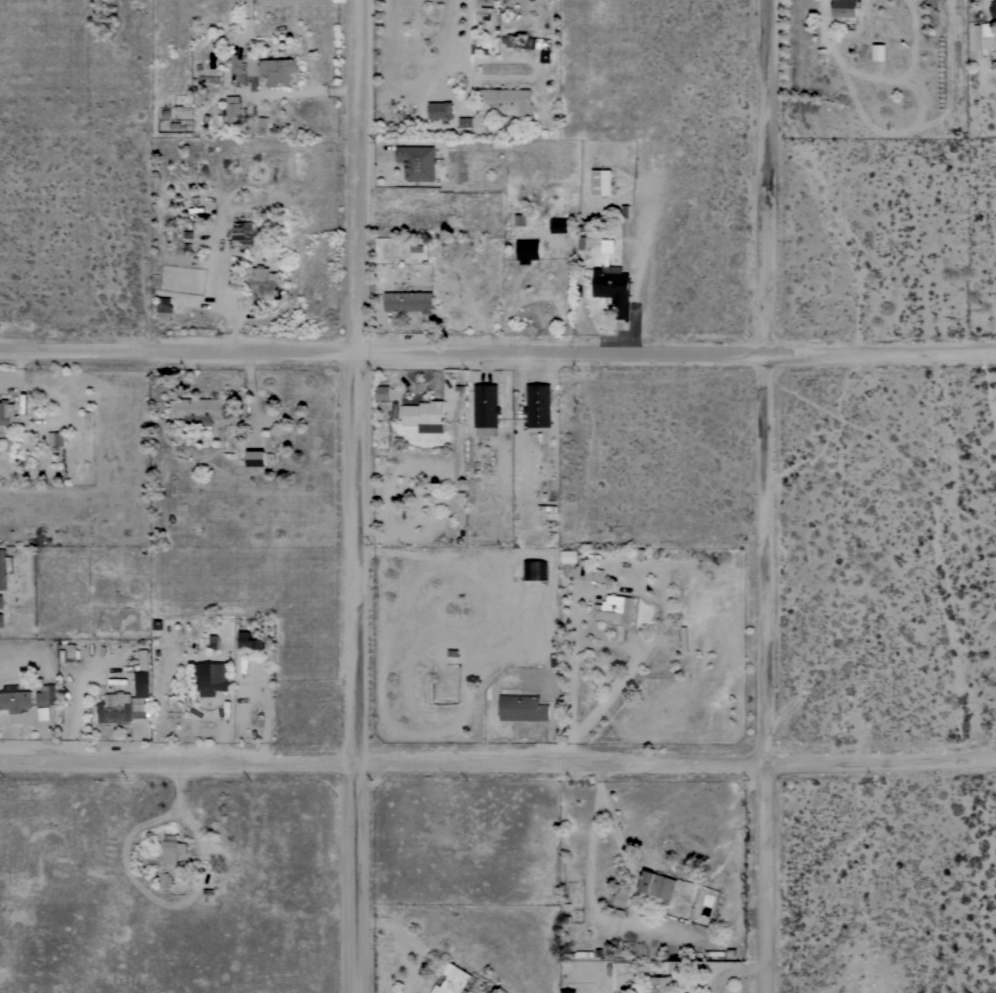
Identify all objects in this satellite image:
building: (846, 9)
building: (993, 9)
building: (507, 40)
building: (877, 52)
building: (271, 69)
building: (206, 78)
building: (507, 100)
building: (231, 110)
building: (440, 110)
building: (465, 122)
building: (417, 162)
building: (601, 182)
building: (520, 220)
building: (558, 223)
building: (241, 233)
building: (527, 251)
building: (262, 281)
building: (612, 283)
building: (408, 301)
building: (163, 304)
road: (497, 358)
building: (485, 405)
building: (538, 405)
building: (197, 410)
building: (8, 414)
building: (425, 415)
building: (56, 439)
building: (258, 458)
road: (357, 496)
road: (764, 496)
building: (569, 556)
building: (2, 569)
building: (534, 570)
building: (595, 575)
building: (0, 601)
building: (615, 608)
building: (1, 620)
building: (248, 641)
building: (210, 642)
building: (73, 653)
road: (629, 672)
building: (142, 675)
building: (211, 677)
building: (47, 695)
building: (15, 701)
building: (121, 708)
building: (522, 708)
road: (498, 763)
building: (172, 849)
building: (165, 879)
building: (657, 887)
building: (621, 895)
building: (578, 954)
building: (453, 980)
building: (661, 984)
building: (567, 991)

